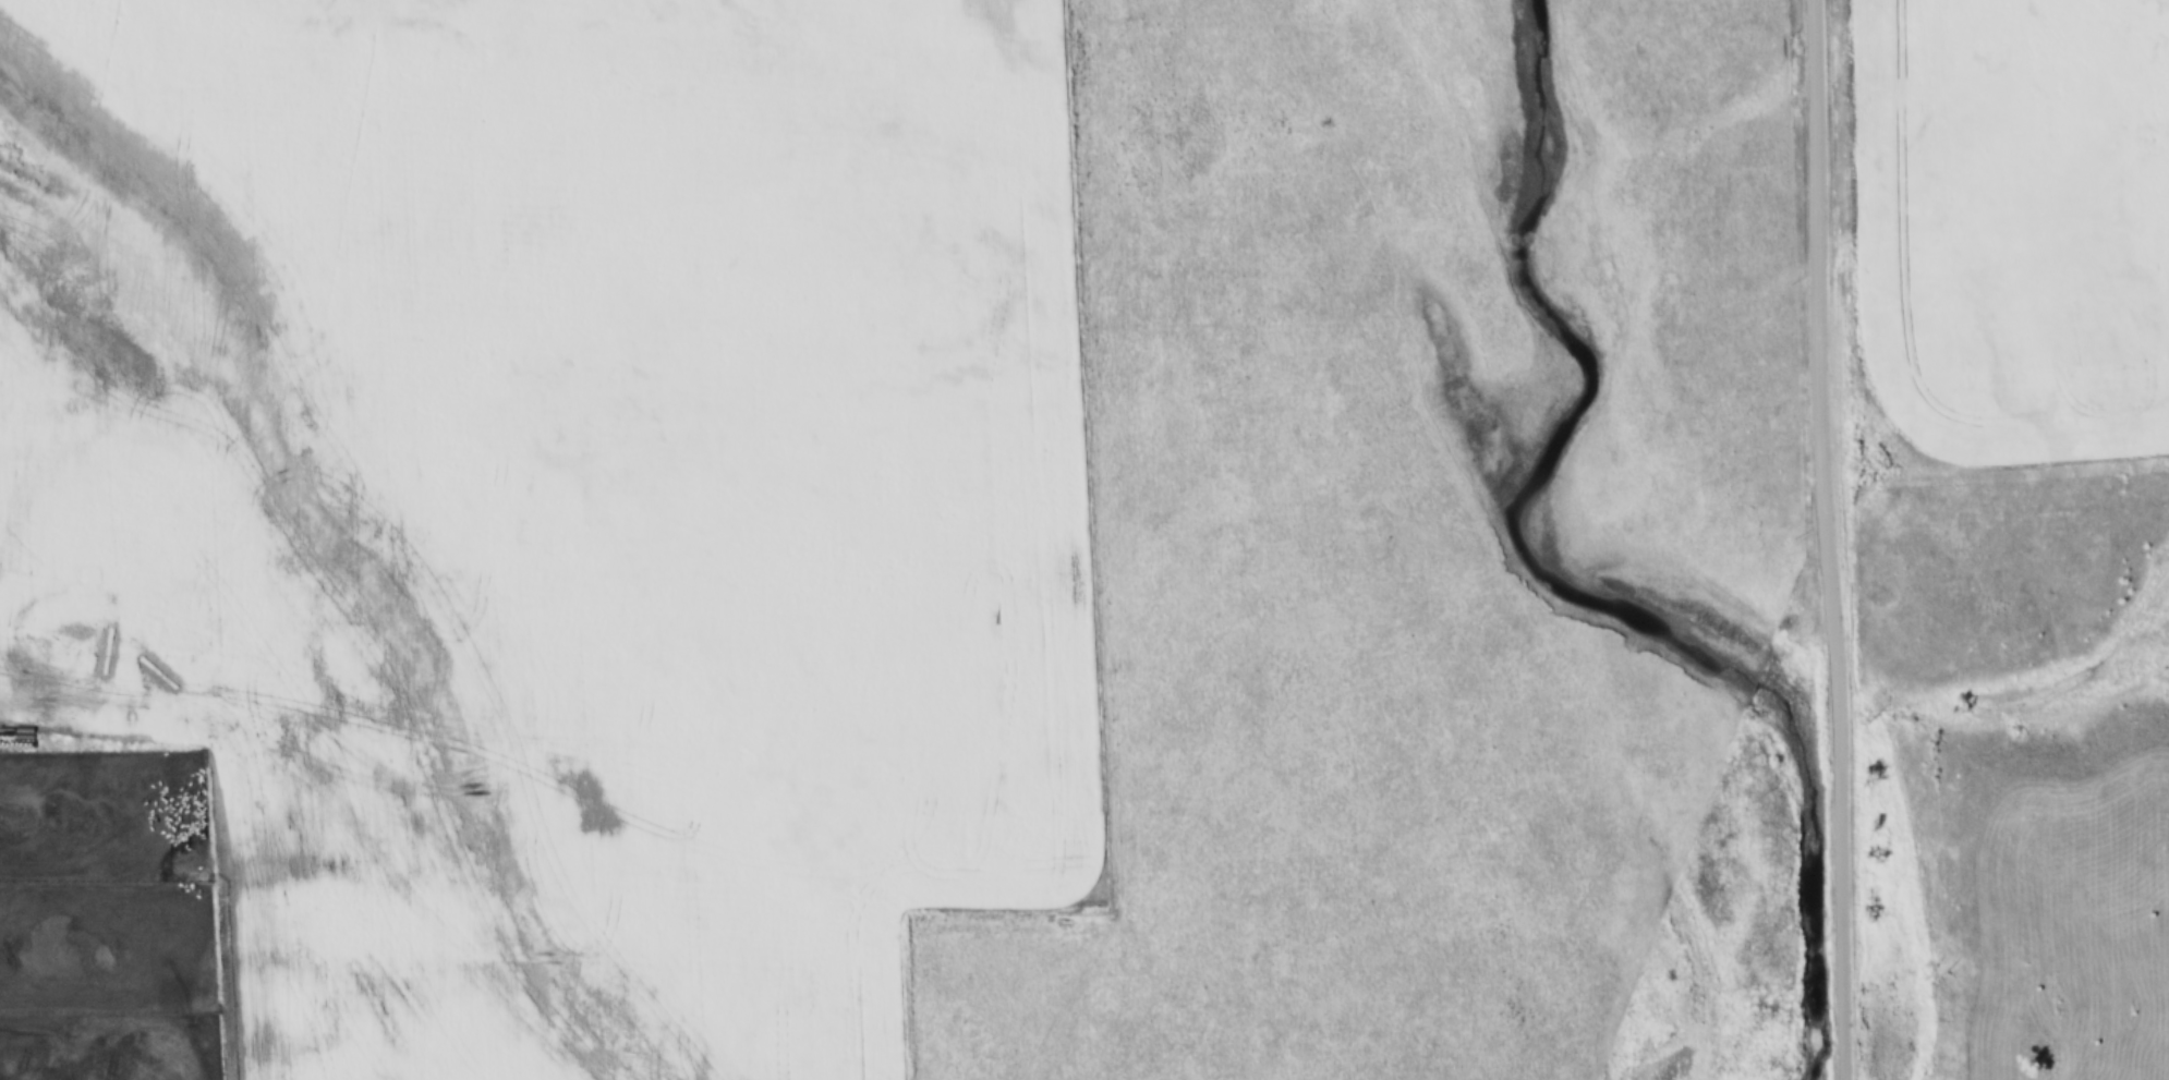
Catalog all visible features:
road: (1826, 539)

